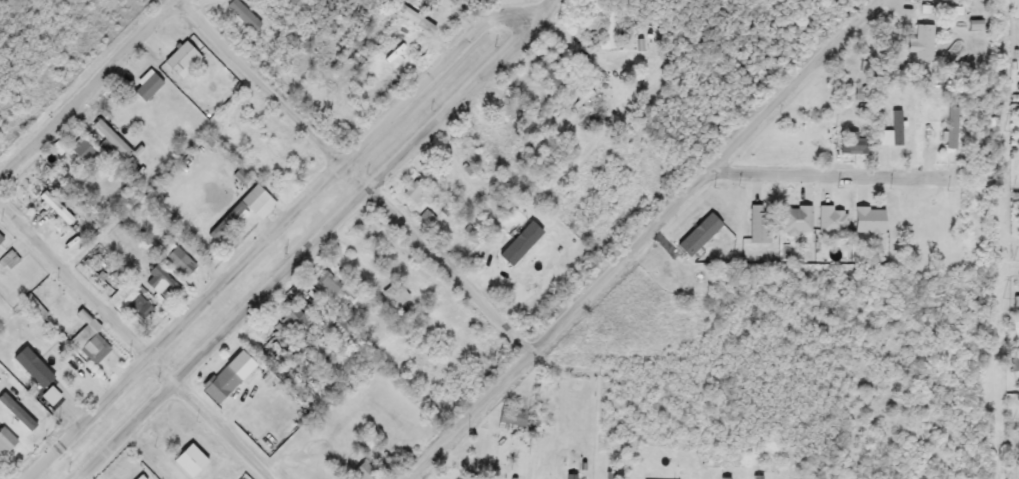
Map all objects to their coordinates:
road: (540, 12)
building: (923, 43)
building: (179, 57)
road: (85, 86)
building: (147, 88)
building: (896, 128)
building: (954, 128)
building: (109, 139)
building: (853, 143)
building: (82, 152)
road: (818, 168)
road: (358, 172)
building: (415, 192)
building: (54, 207)
building: (795, 220)
building: (832, 221)
building: (868, 221)
building: (757, 224)
road: (267, 233)
road: (637, 238)
building: (0, 239)
road: (304, 248)
building: (178, 261)
building: (158, 283)
building: (336, 290)
road: (137, 339)
building: (223, 382)
building: (511, 418)
building: (5, 441)
building: (188, 461)
building: (138, 477)

